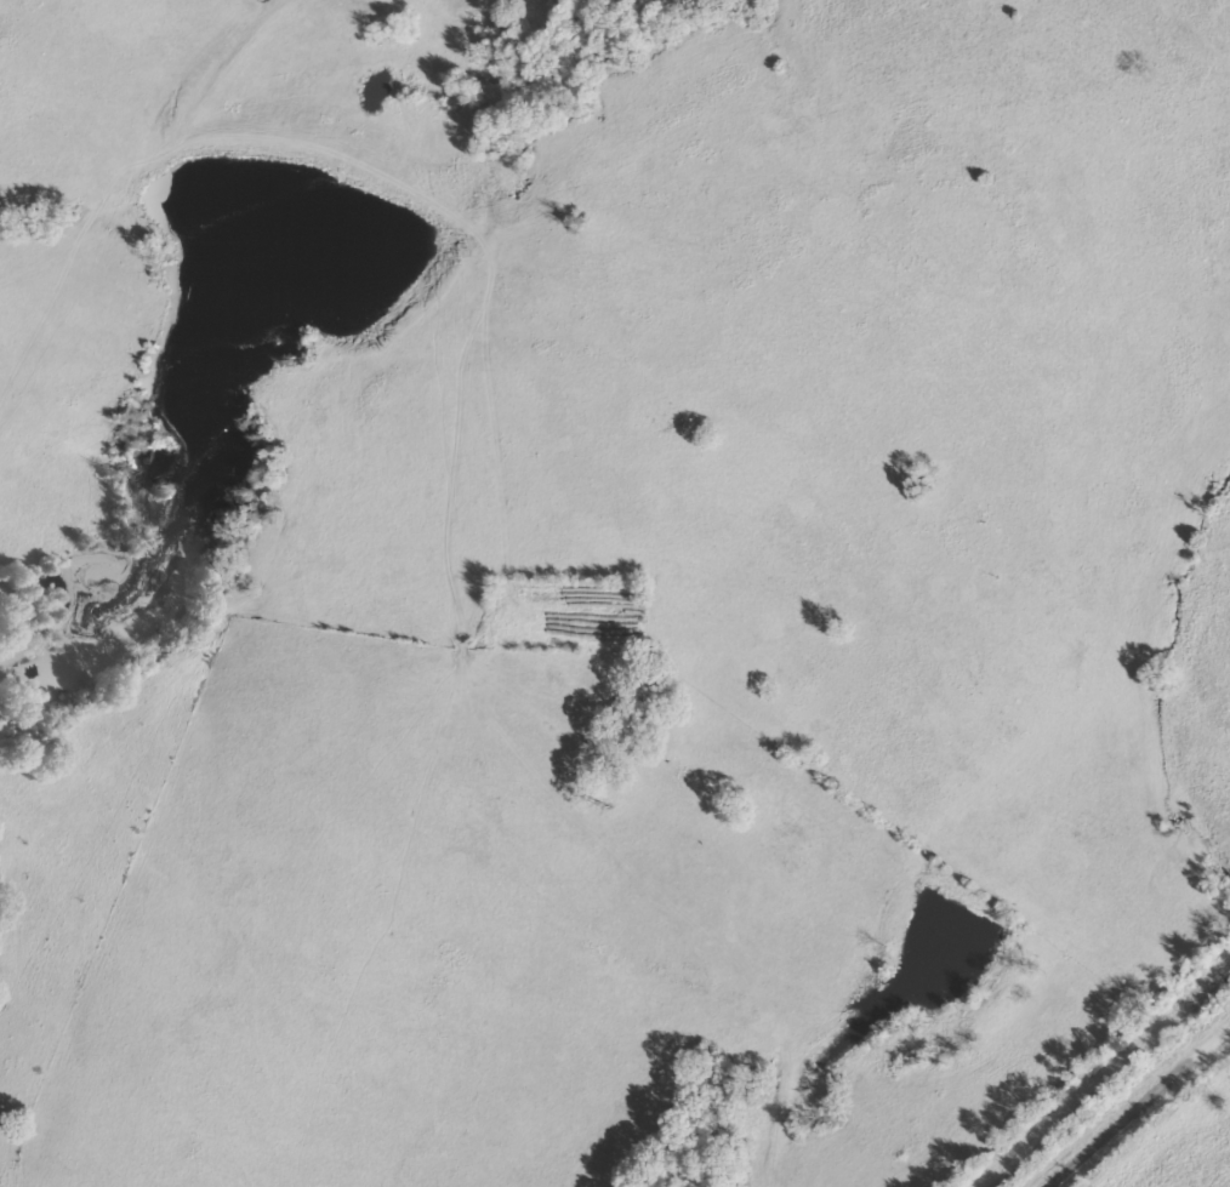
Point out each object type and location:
road: (1135, 1101)

